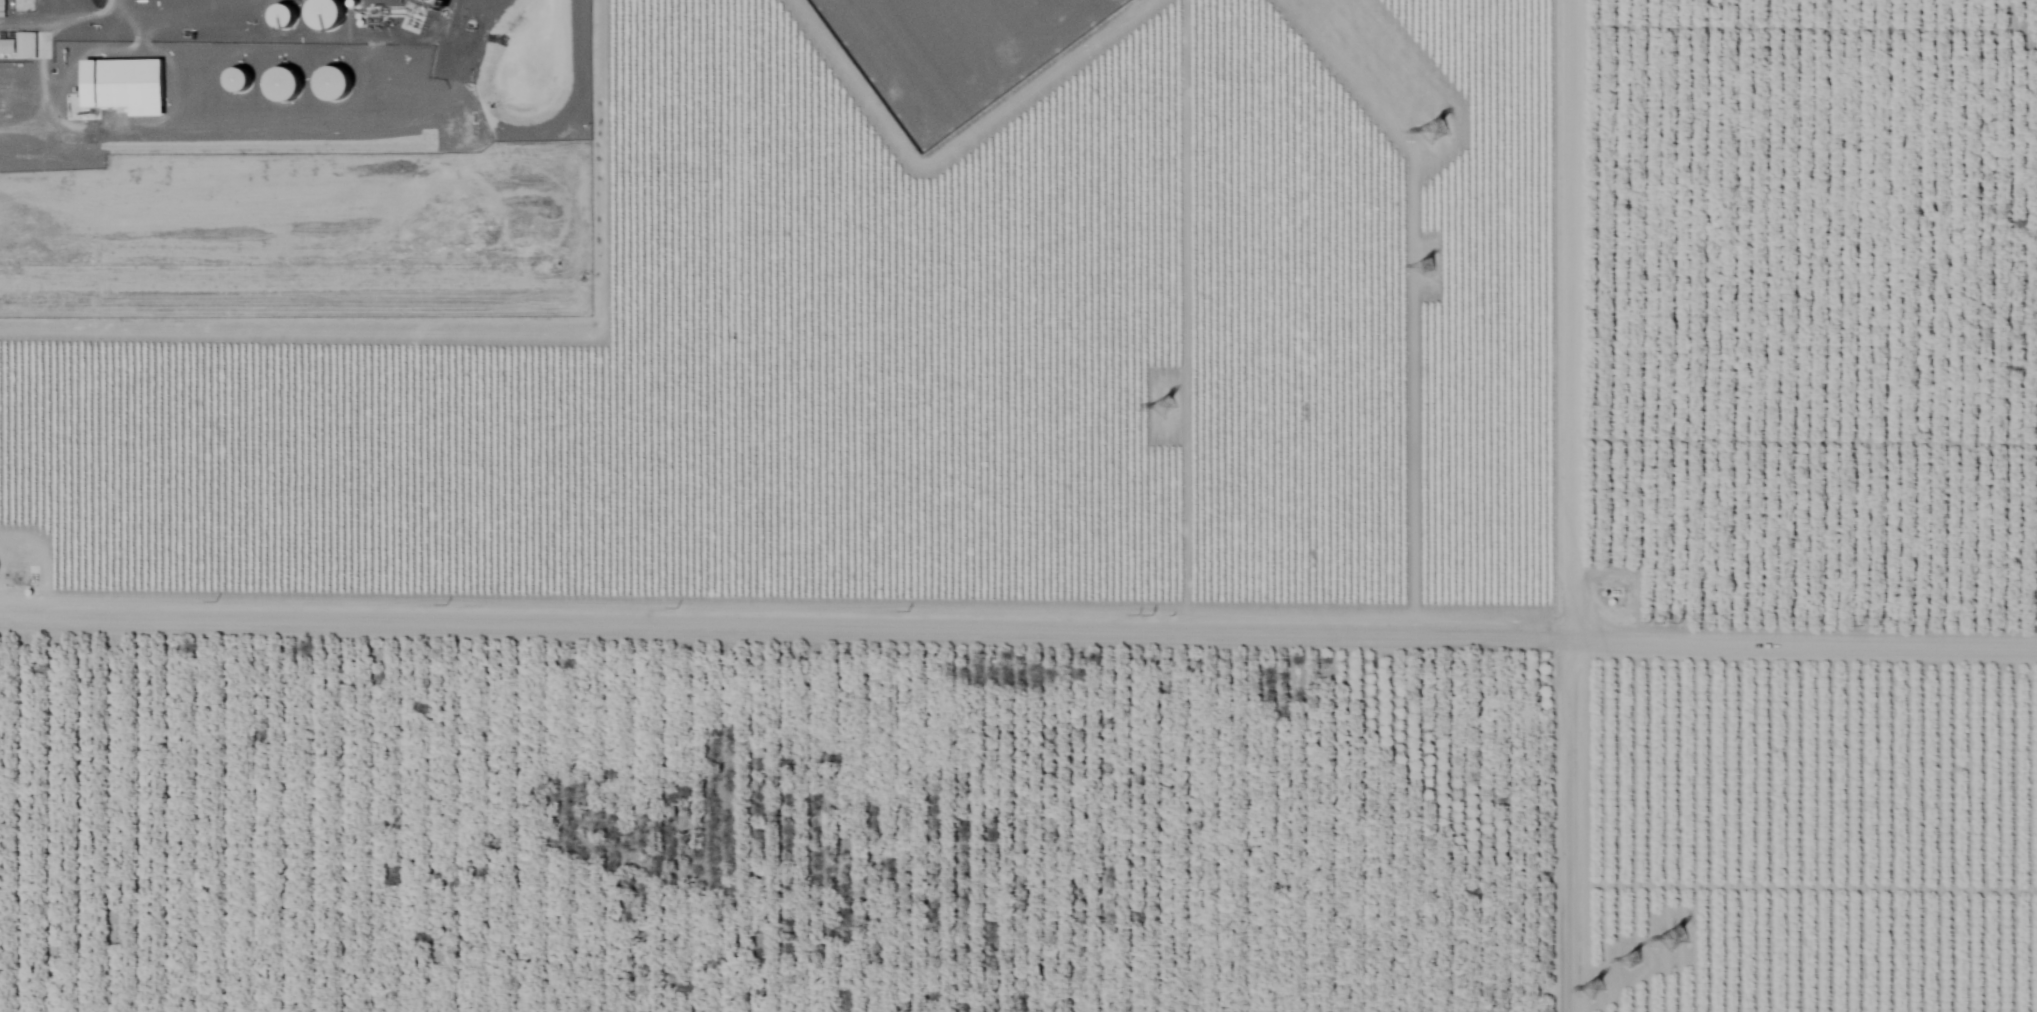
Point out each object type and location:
building: (432, 3)
building: (325, 13)
building: (19, 43)
road: (2000, 47)
power substation: (955, 50)
building: (125, 84)
power tower: (1442, 138)
power plant: (308, 154)
power tower: (1426, 266)
power tower: (1170, 421)
road: (1018, 618)
power tower: (1670, 930)
power tower: (1640, 965)
power tower: (1607, 993)

